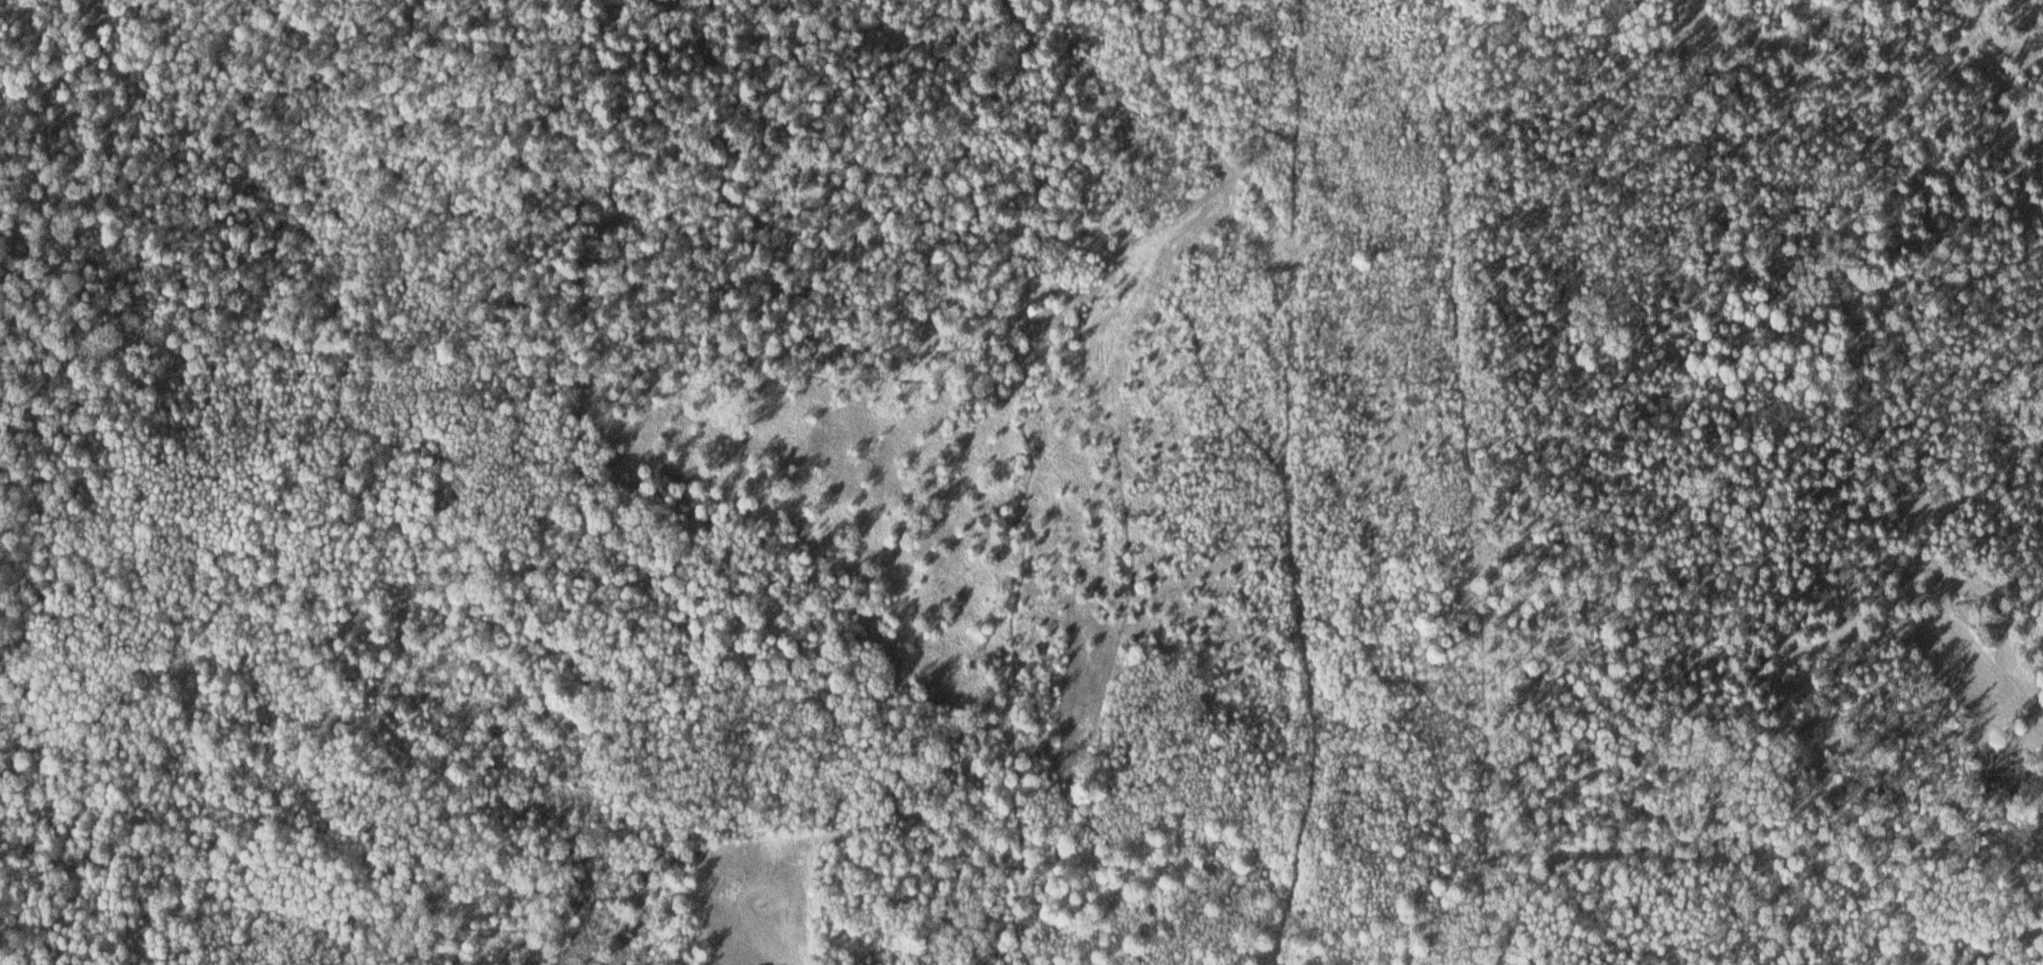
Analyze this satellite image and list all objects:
road: (1023, 374)

